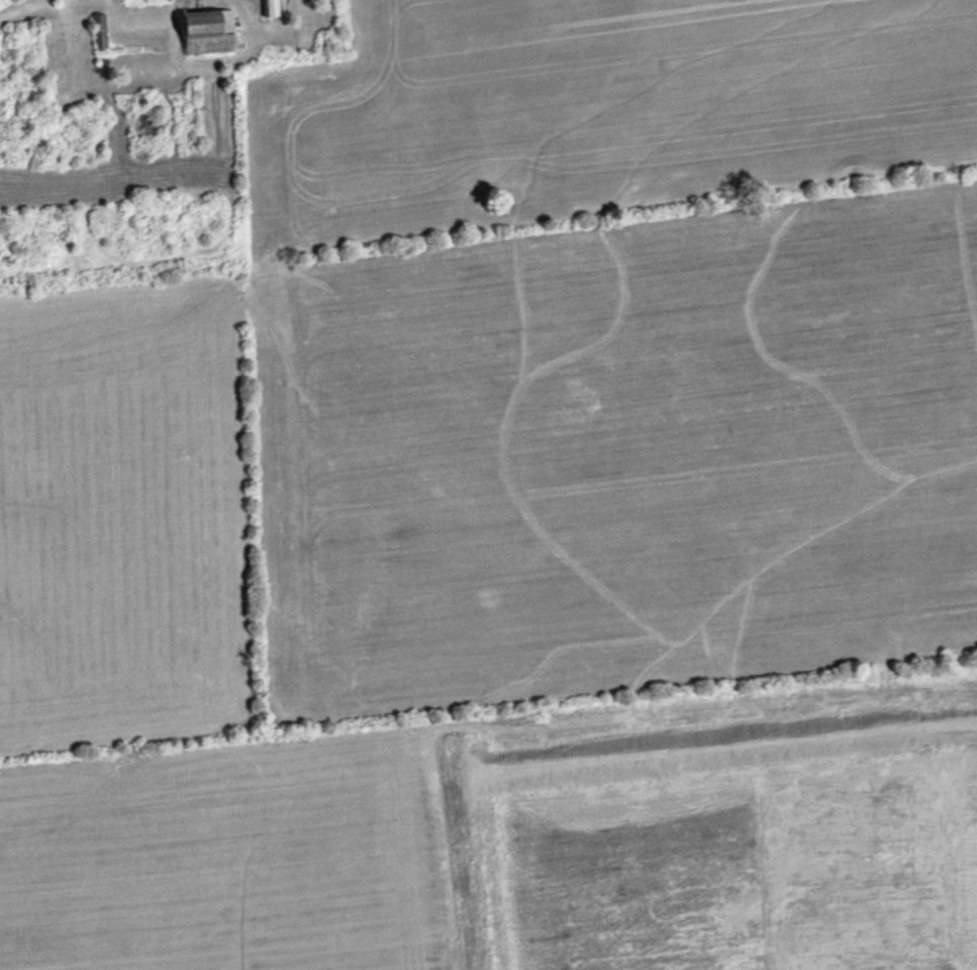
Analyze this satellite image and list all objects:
building: (269, 8)
building: (101, 33)
building: (206, 33)

